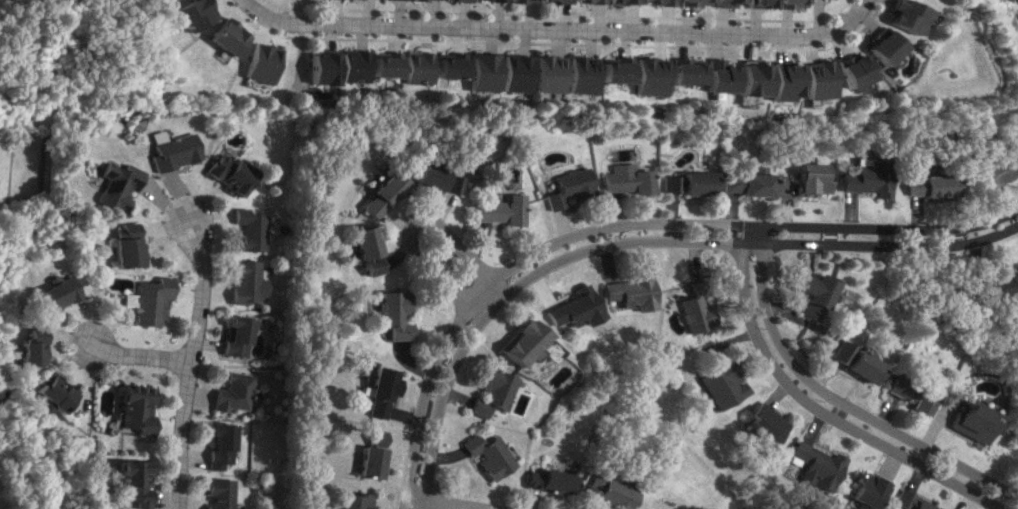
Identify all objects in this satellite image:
building: (427, 0)
building: (459, 0)
building: (490, 0)
building: (524, 1)
building: (556, 1)
building: (589, 1)
building: (621, 2)
building: (657, 2)
building: (687, 2)
building: (719, 3)
building: (785, 3)
building: (753, 4)
building: (191, 14)
building: (904, 16)
road: (553, 31)
building: (223, 38)
building: (879, 47)
building: (257, 63)
building: (385, 64)
building: (352, 65)
building: (450, 66)
building: (417, 67)
building: (319, 68)
building: (614, 70)
building: (848, 70)
building: (679, 71)
building: (483, 72)
building: (515, 73)
building: (548, 74)
building: (581, 75)
building: (646, 76)
building: (711, 76)
building: (744, 80)
building: (811, 80)
building: (777, 81)
building: (172, 152)
building: (995, 169)
building: (225, 173)
building: (865, 177)
building: (435, 179)
building: (626, 179)
building: (808, 179)
building: (752, 182)
building: (694, 183)
building: (669, 184)
building: (728, 184)
building: (115, 186)
building: (926, 186)
building: (569, 187)
building: (380, 193)
building: (501, 210)
road: (410, 225)
road: (624, 226)
building: (245, 229)
road: (637, 241)
building: (123, 247)
building: (363, 249)
building: (242, 282)
building: (1003, 285)
building: (53, 293)
building: (627, 293)
building: (811, 295)
building: (121, 300)
building: (145, 300)
building: (572, 309)
building: (693, 311)
building: (393, 315)
building: (232, 336)
building: (521, 342)
building: (25, 348)
road: (128, 354)
road: (184, 358)
building: (852, 362)
building: (717, 383)
building: (229, 392)
building: (378, 392)
building: (492, 392)
building: (910, 394)
building: (46, 395)
road: (835, 402)
building: (129, 409)
road: (814, 410)
building: (972, 422)
building: (760, 425)
building: (215, 446)
building: (369, 455)
building: (487, 455)
building: (813, 465)
building: (548, 481)
building: (127, 482)
building: (863, 490)
building: (605, 492)
building: (216, 494)
building: (353, 501)
road: (438, 502)
building: (908, 502)

